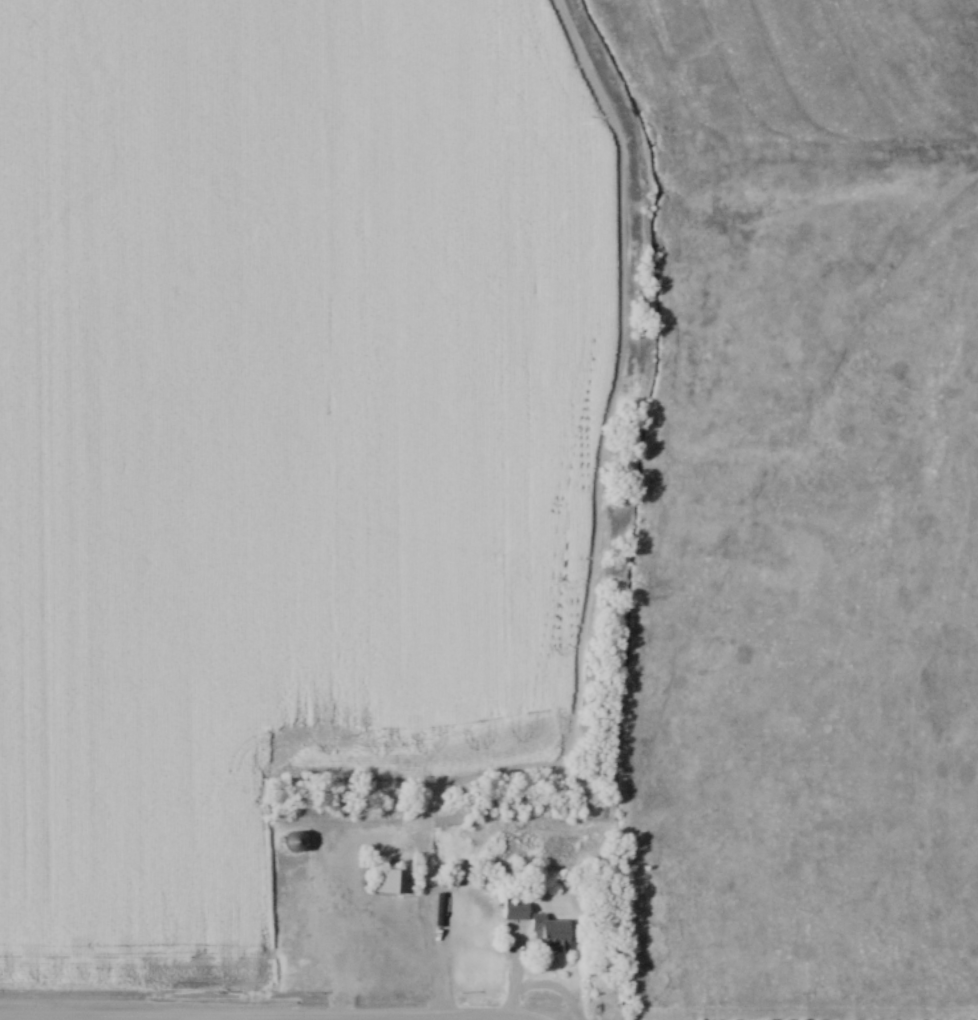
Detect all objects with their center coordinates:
building: (296, 842)
building: (390, 881)
building: (519, 911)
building: (553, 935)
road: (259, 1017)

